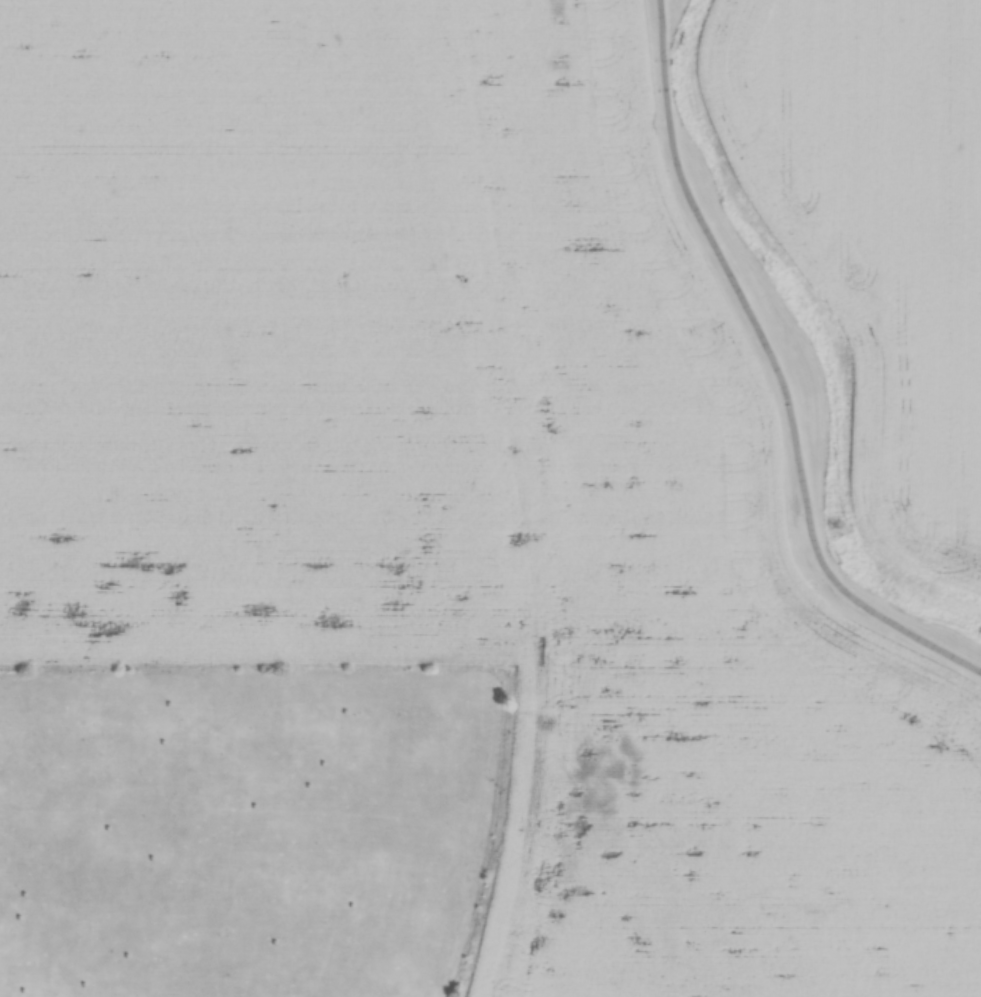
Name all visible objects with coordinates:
road: (775, 370)

